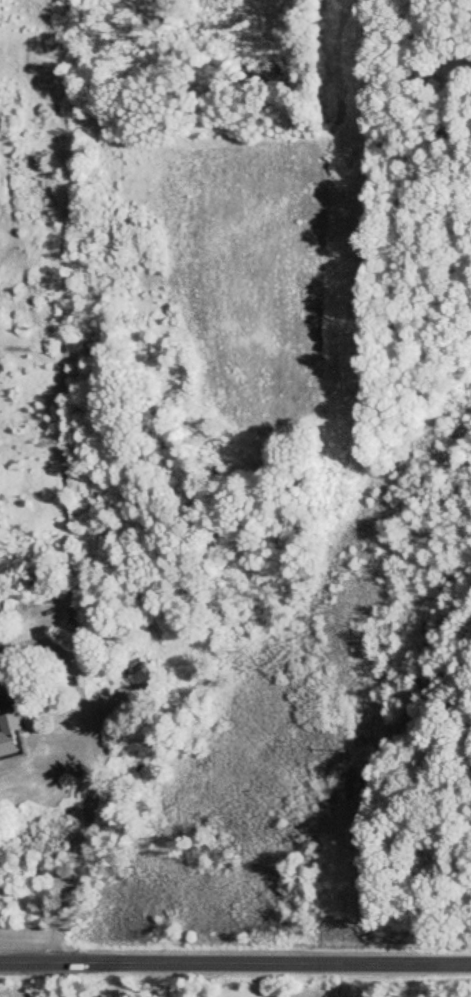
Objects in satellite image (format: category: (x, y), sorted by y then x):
road: (0, 689)
building: (9, 736)
road: (94, 778)
road: (235, 962)
park: (169, 990)

